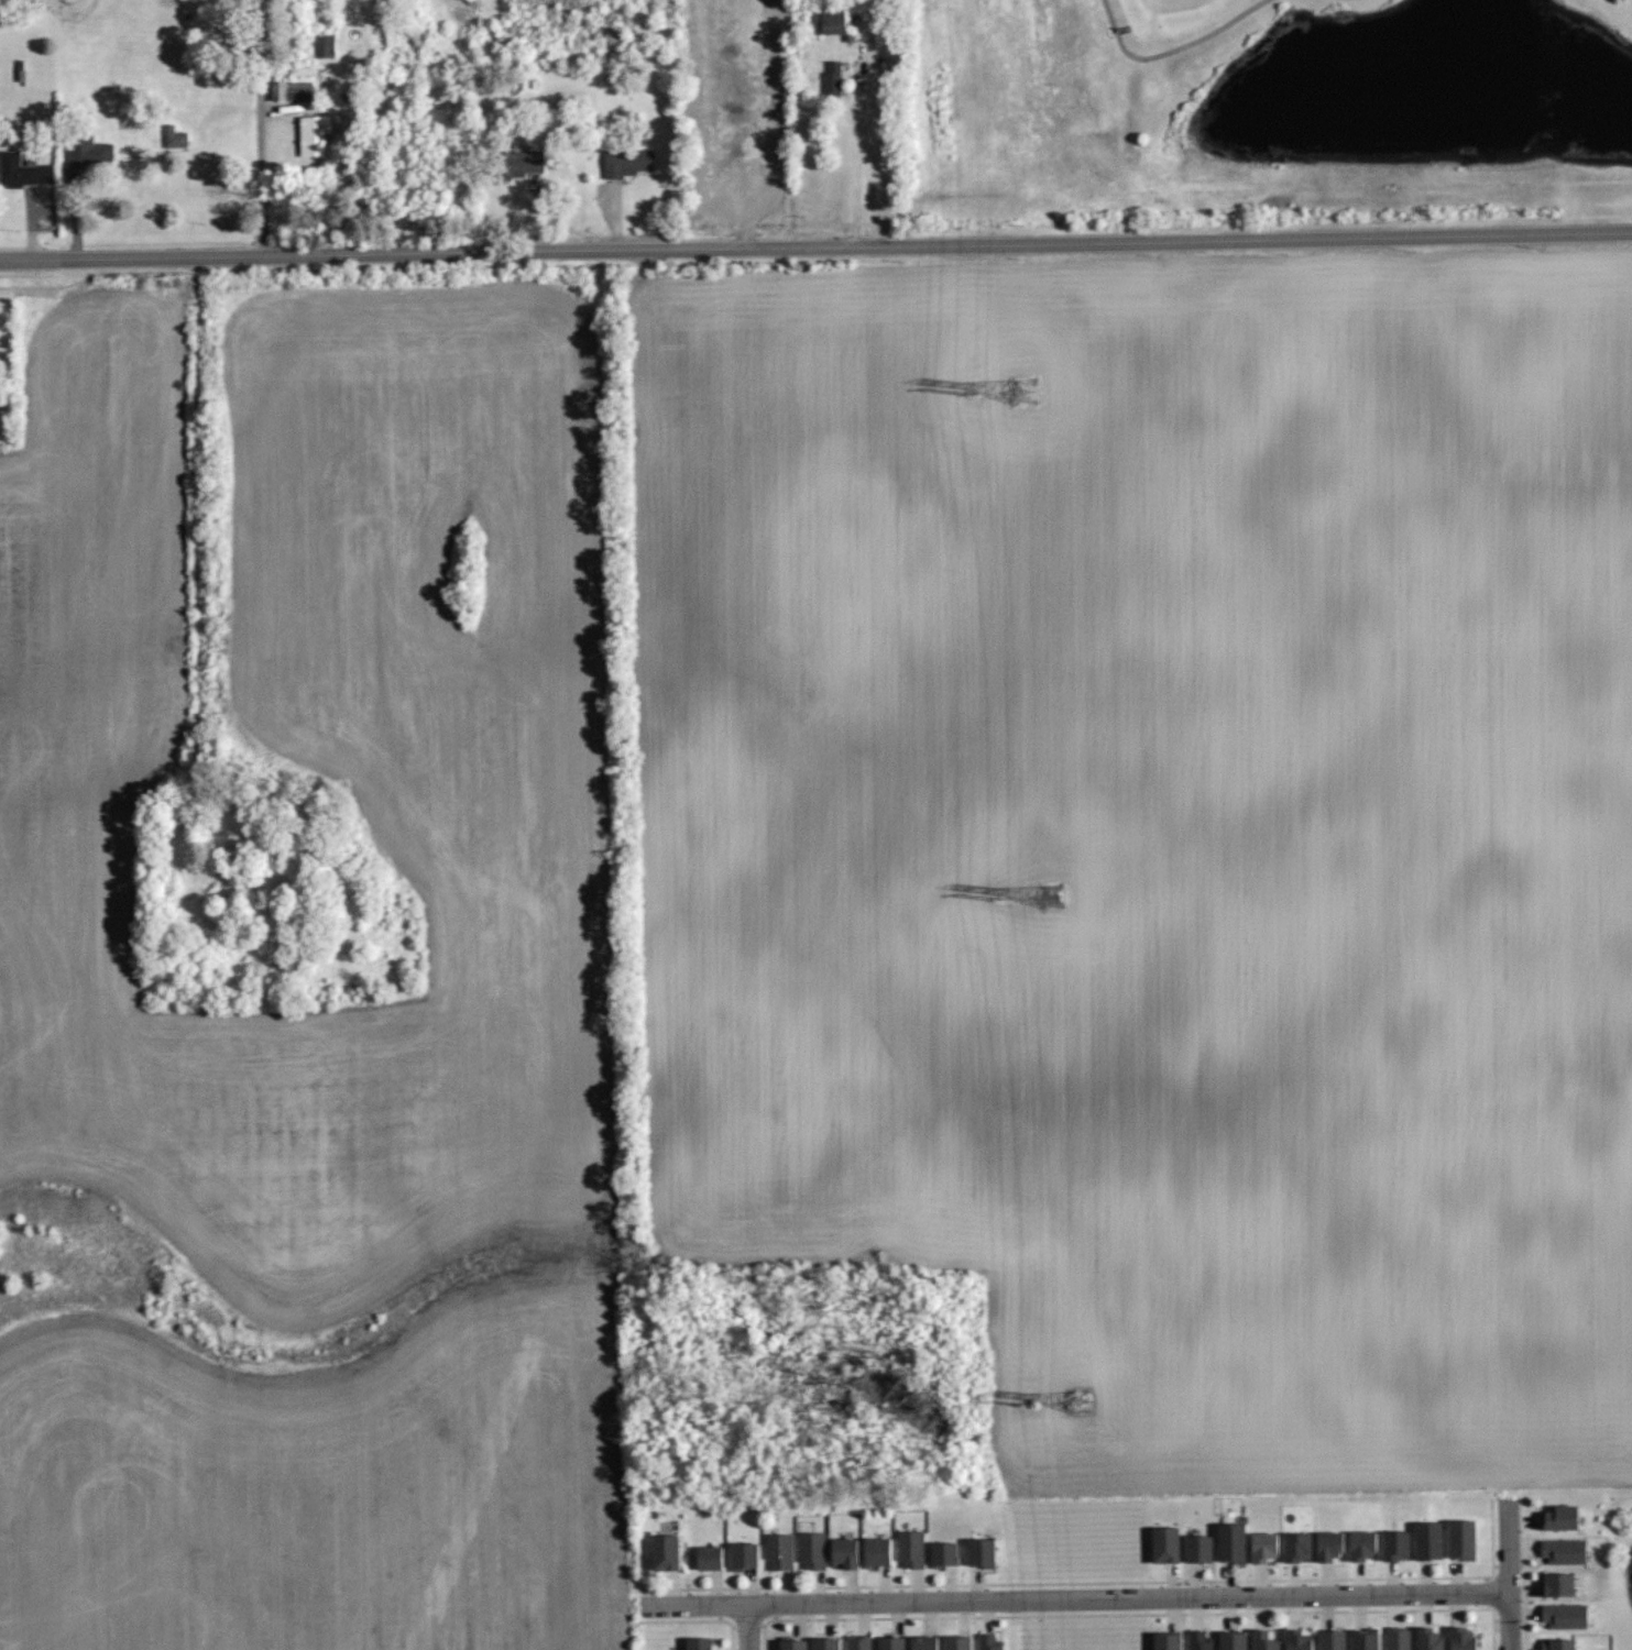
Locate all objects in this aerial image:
building: (824, 20)
road: (1172, 50)
building: (831, 78)
building: (295, 109)
road: (262, 128)
building: (314, 132)
building: (87, 150)
building: (515, 162)
building: (624, 162)
road: (856, 168)
building: (17, 170)
building: (43, 182)
road: (815, 244)
road: (25, 275)
power tower: (1026, 393)
power tower: (1049, 893)
power tower: (1080, 1400)
building: (1560, 1517)
building: (1461, 1538)
building: (1427, 1539)
building: (1234, 1541)
building: (1168, 1544)
building: (1398, 1544)
building: (1267, 1546)
building: (1329, 1546)
building: (1362, 1546)
building: (910, 1547)
building: (1297, 1547)
building: (811, 1548)
building: (1200, 1548)
building: (778, 1549)
building: (1566, 1549)
building: (665, 1550)
building: (876, 1550)
building: (844, 1551)
building: (944, 1551)
building: (983, 1551)
building: (742, 1554)
building: (708, 1555)
road: (1508, 1574)
building: (1558, 1584)
road: (1077, 1599)
building: (1565, 1614)
road: (746, 1627)
building: (1399, 1638)
building: (1428, 1638)
building: (1465, 1638)
building: (1170, 1640)
building: (1201, 1640)
building: (1235, 1640)
building: (1263, 1640)
building: (1299, 1640)
building: (1333, 1640)
building: (1366, 1640)
building: (859, 1641)
building: (990, 1641)
building: (891, 1642)
building: (923, 1642)
building: (956, 1642)
building: (697, 1643)
building: (792, 1643)
building: (825, 1643)
building: (1559, 1645)

